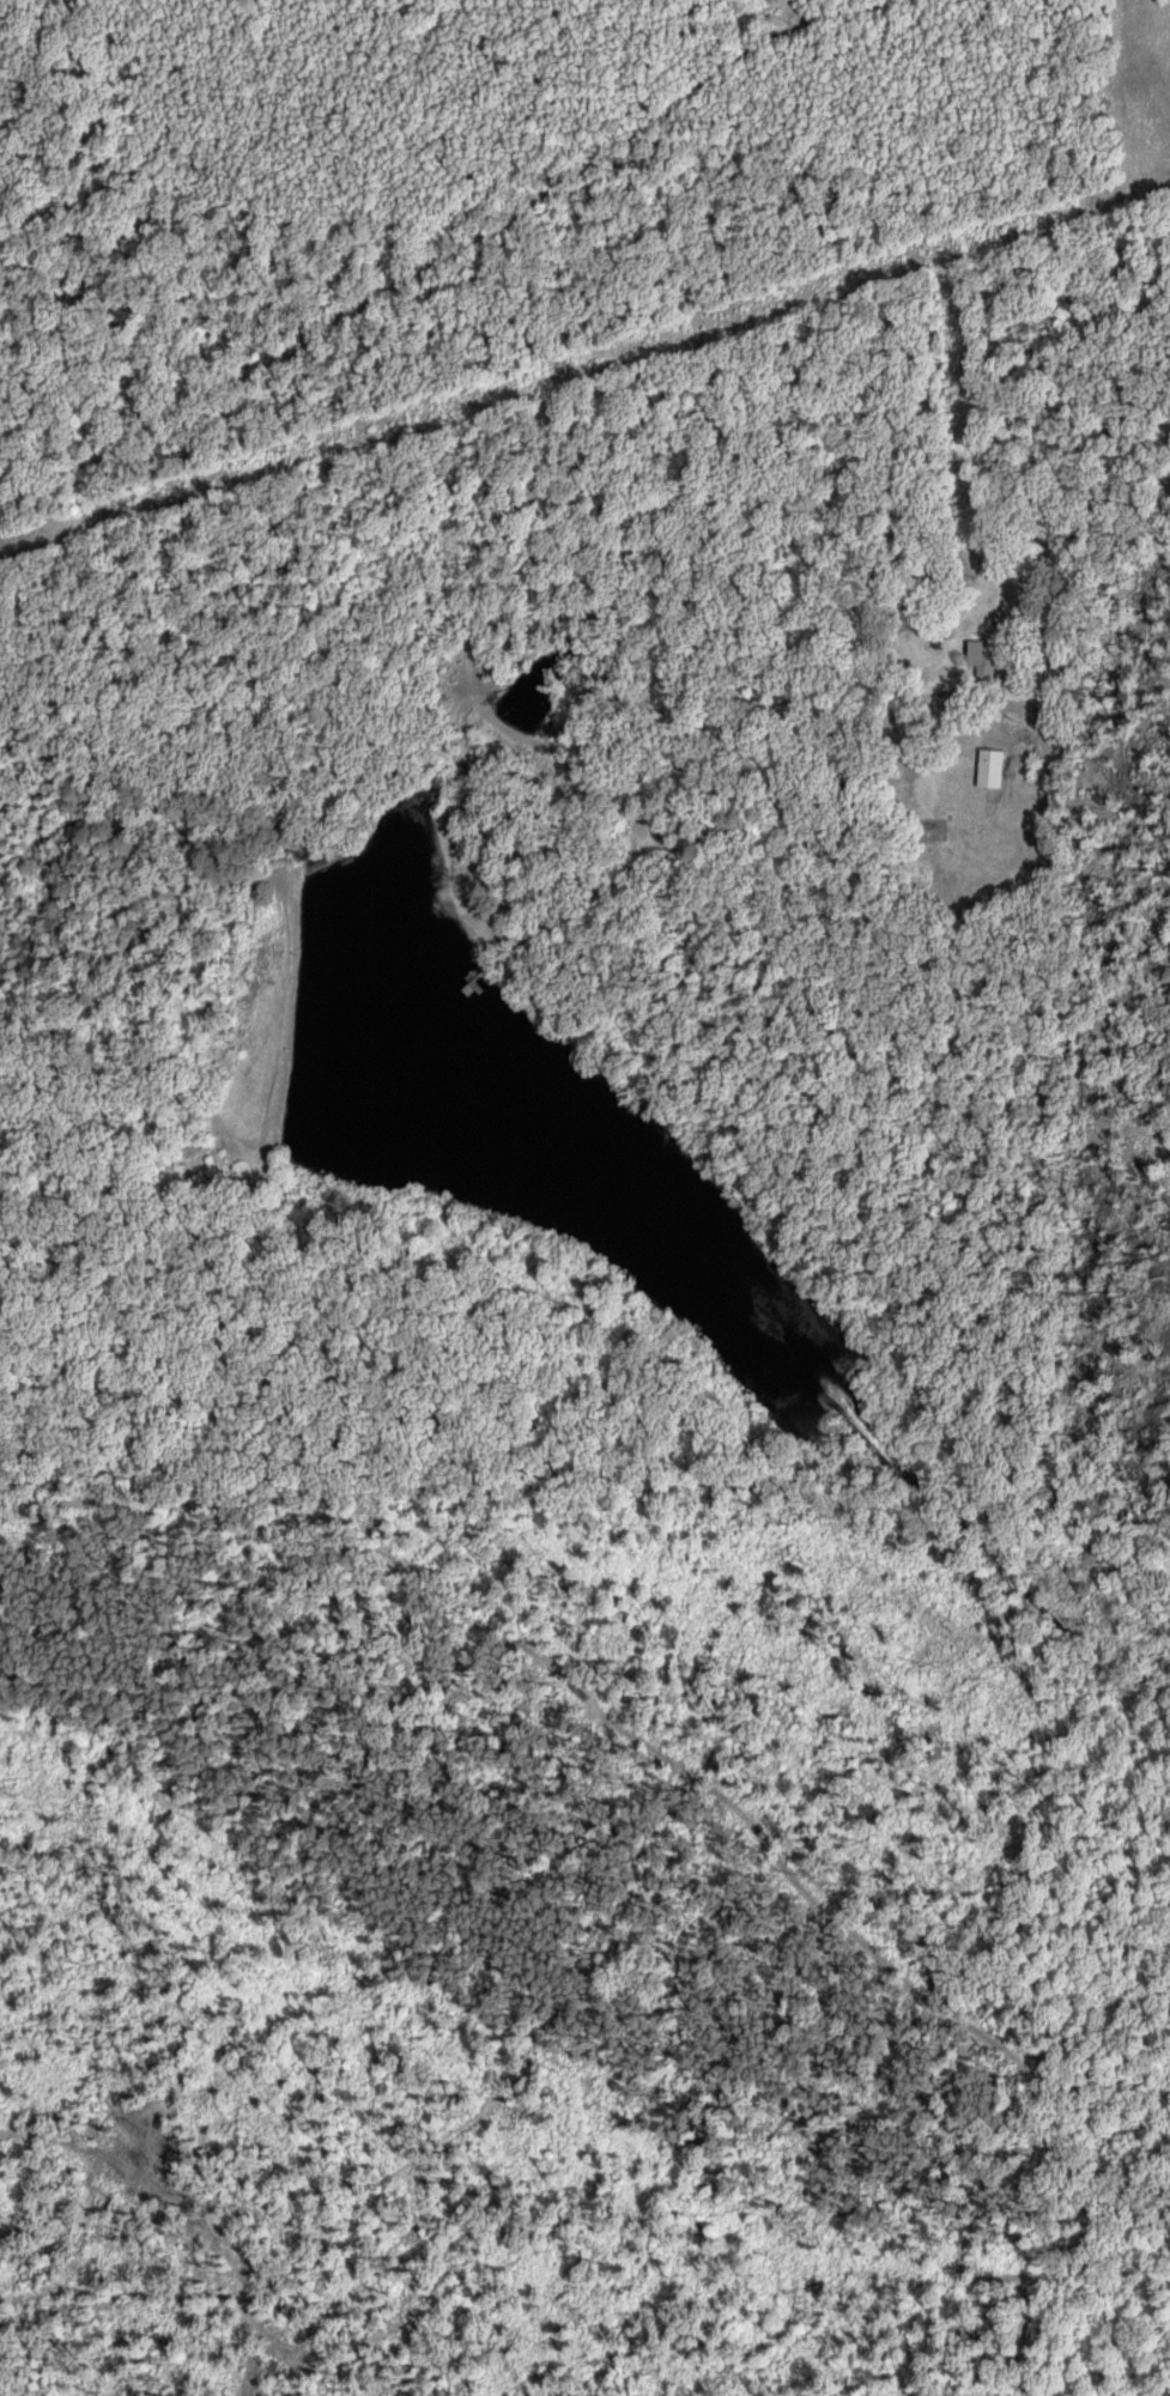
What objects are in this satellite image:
road: (448, 237)
road: (1065, 315)
building: (999, 766)
road: (1127, 2040)

